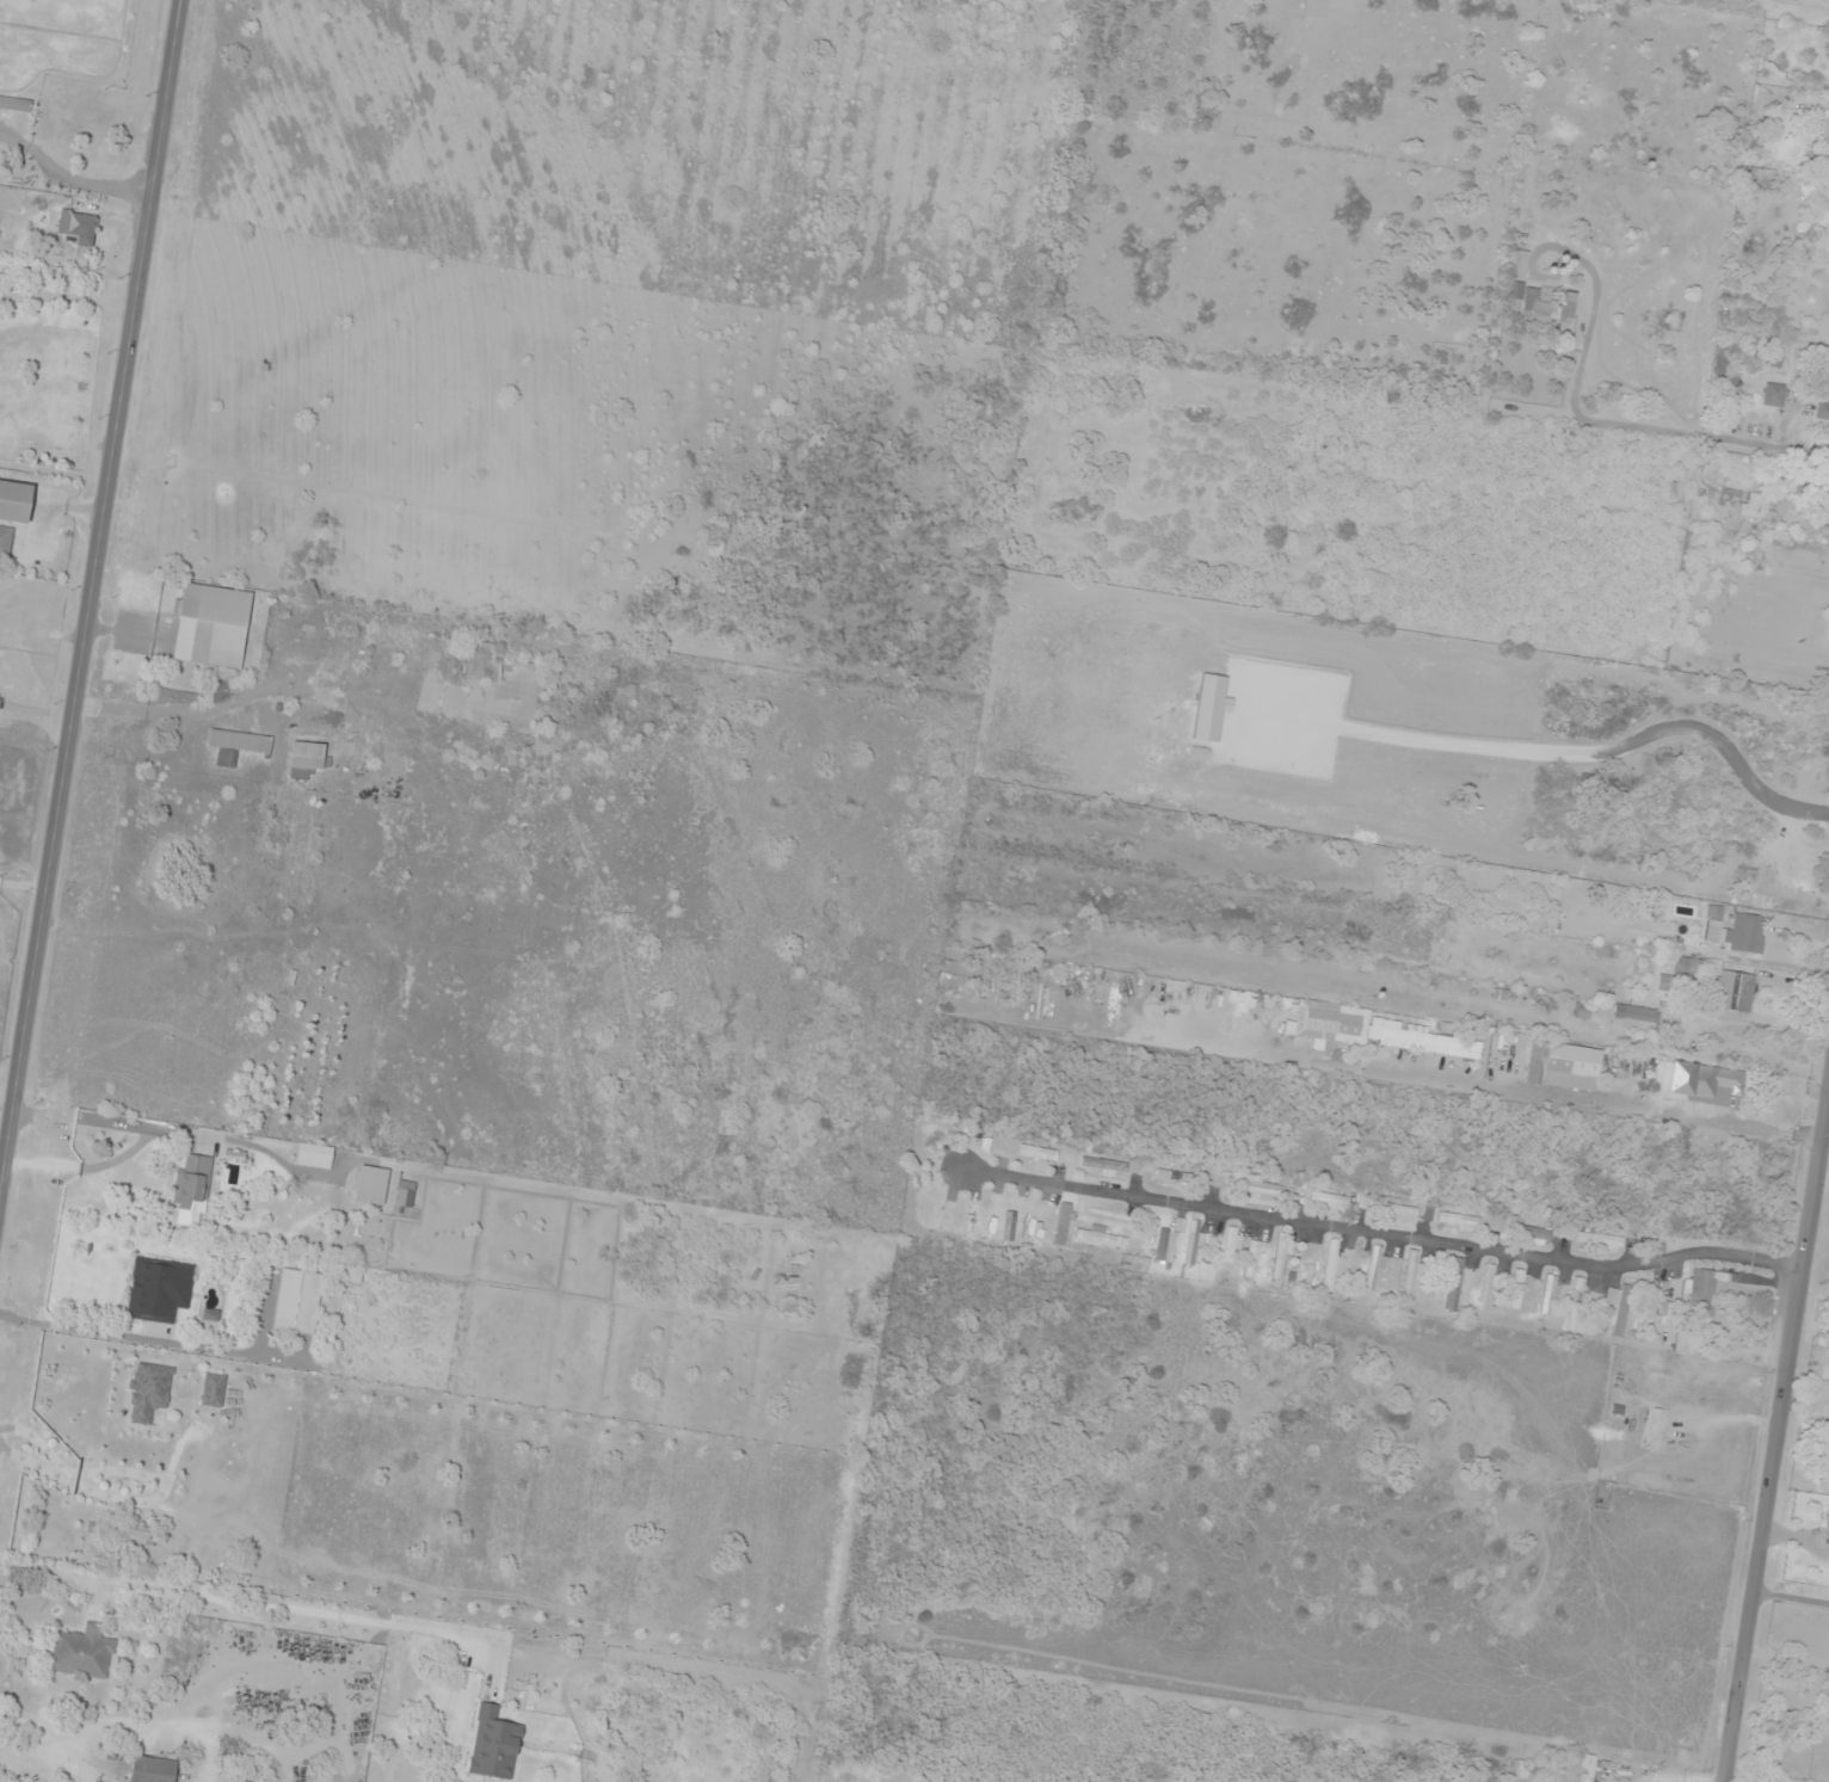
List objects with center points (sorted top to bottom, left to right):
building: (16, 105)
building: (92, 109)
building: (1825, 141)
building: (79, 226)
building: (1517, 266)
building: (1545, 308)
building: (1773, 395)
building: (1822, 412)
building: (14, 501)
building: (1744, 502)
building: (1828, 506)
building: (5, 544)
building: (211, 627)
road: (94, 639)
building: (11, 672)
building: (239, 747)
building: (306, 759)
building: (1796, 876)
building: (1745, 935)
building: (1668, 985)
building: (1736, 992)
building: (1633, 1018)
building: (1331, 1023)
building: (1429, 1042)
building: (1563, 1068)
building: (1724, 1079)
building: (1039, 1153)
building: (314, 1157)
building: (1172, 1177)
building: (192, 1184)
building: (371, 1185)
building: (1254, 1189)
building: (404, 1198)
building: (1329, 1201)
building: (1394, 1211)
building: (1460, 1221)
building: (1061, 1226)
building: (1534, 1234)
building: (1102, 1238)
building: (1165, 1243)
building: (1599, 1243)
building: (1193, 1244)
building: (1231, 1248)
building: (1331, 1266)
building: (1374, 1270)
building: (1311, 1274)
building: (1454, 1284)
building: (1489, 1284)
building: (1700, 1288)
building: (1519, 1289)
building: (159, 1290)
building: (1550, 1295)
building: (297, 1302)
building: (1576, 1305)
building: (1619, 1309)
building: (213, 1389)
building: (149, 1392)
building: (1654, 1428)
road: (1779, 1490)
building: (1827, 1517)
building: (226, 1561)
building: (82, 1653)
building: (494, 1744)
building: (150, 1770)
building: (1578, 1770)
building: (1542, 1781)

